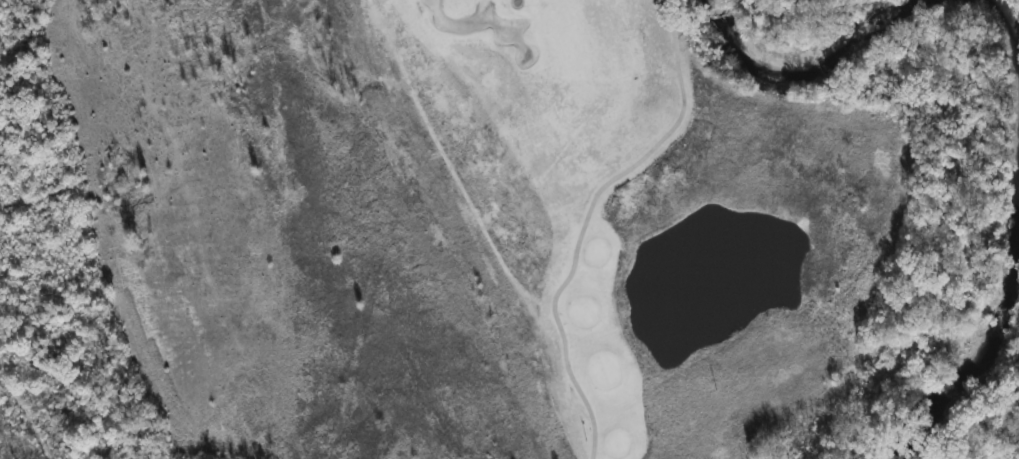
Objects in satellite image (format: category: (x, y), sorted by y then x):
road: (589, 216)

